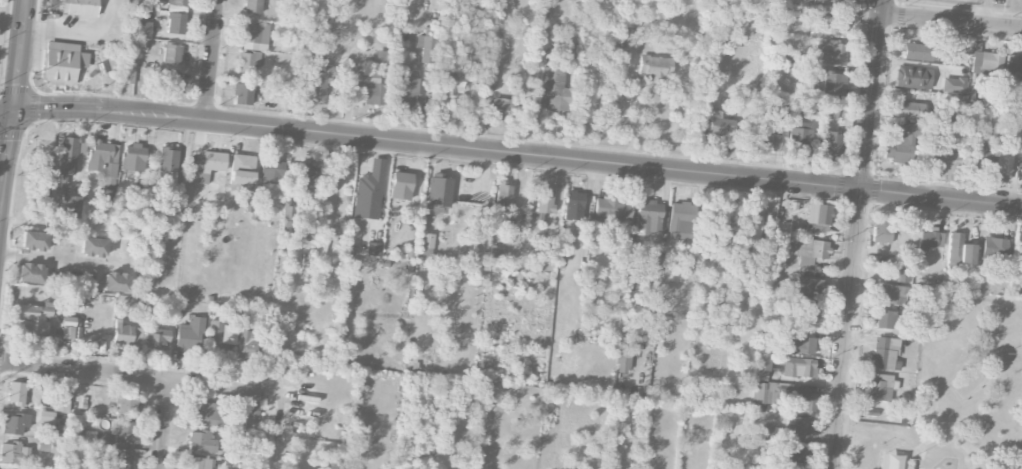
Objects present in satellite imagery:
building: (175, 1)
building: (834, 3)
building: (253, 6)
building: (80, 7)
building: (542, 10)
road: (984, 12)
park: (1, 16)
road: (48, 16)
road: (952, 21)
building: (175, 23)
building: (826, 25)
building: (139, 29)
road: (75, 32)
building: (255, 36)
building: (426, 46)
building: (917, 51)
building: (171, 53)
building: (831, 53)
building: (381, 57)
road: (212, 60)
building: (248, 61)
building: (986, 62)
building: (62, 63)
building: (1013, 65)
building: (655, 67)
building: (127, 75)
building: (909, 77)
building: (489, 78)
building: (318, 81)
building: (450, 81)
building: (832, 81)
building: (952, 84)
building: (169, 85)
building: (370, 87)
building: (553, 89)
building: (406, 90)
building: (242, 93)
building: (503, 107)
road: (6, 109)
traffic signals: (13, 109)
building: (909, 110)
building: (830, 111)
road: (12, 113)
building: (1007, 121)
building: (718, 123)
building: (799, 139)
building: (768, 142)
building: (829, 145)
building: (902, 146)
road: (517, 154)
building: (67, 155)
building: (132, 157)
building: (976, 157)
building: (102, 158)
building: (942, 161)
building: (167, 165)
building: (210, 165)
building: (1002, 165)
building: (270, 170)
building: (241, 172)
building: (302, 178)
building: (400, 185)
building: (369, 191)
building: (438, 191)
building: (106, 196)
building: (503, 196)
building: (543, 203)
building: (573, 205)
building: (69, 206)
building: (612, 208)
building: (818, 213)
building: (288, 216)
building: (648, 216)
building: (681, 220)
building: (749, 227)
building: (714, 229)
building: (880, 230)
road: (856, 234)
building: (929, 238)
building: (34, 240)
building: (427, 240)
building: (93, 246)
building: (993, 246)
building: (373, 249)
building: (959, 249)
building: (809, 250)
building: (780, 252)
building: (1020, 254)
road: (49, 257)
building: (637, 271)
building: (30, 272)
building: (899, 272)
building: (115, 281)
building: (809, 286)
building: (887, 293)
building: (804, 306)
building: (34, 317)
building: (884, 319)
building: (68, 320)
building: (189, 334)
building: (219, 334)
building: (128, 335)
building: (155, 338)
building: (245, 344)
building: (800, 345)
building: (884, 352)
building: (763, 361)
building: (622, 362)
building: (798, 367)
road: (130, 376)
building: (880, 385)
building: (16, 392)
building: (761, 392)
park: (956, 398)
building: (802, 401)
building: (61, 402)
building: (126, 405)
building: (206, 413)
building: (46, 416)
building: (251, 417)
building: (14, 423)
building: (797, 424)
road: (164, 425)
building: (123, 431)
building: (768, 432)
building: (83, 435)
building: (200, 441)
building: (13, 453)
building: (792, 453)
building: (118, 459)
building: (197, 463)

